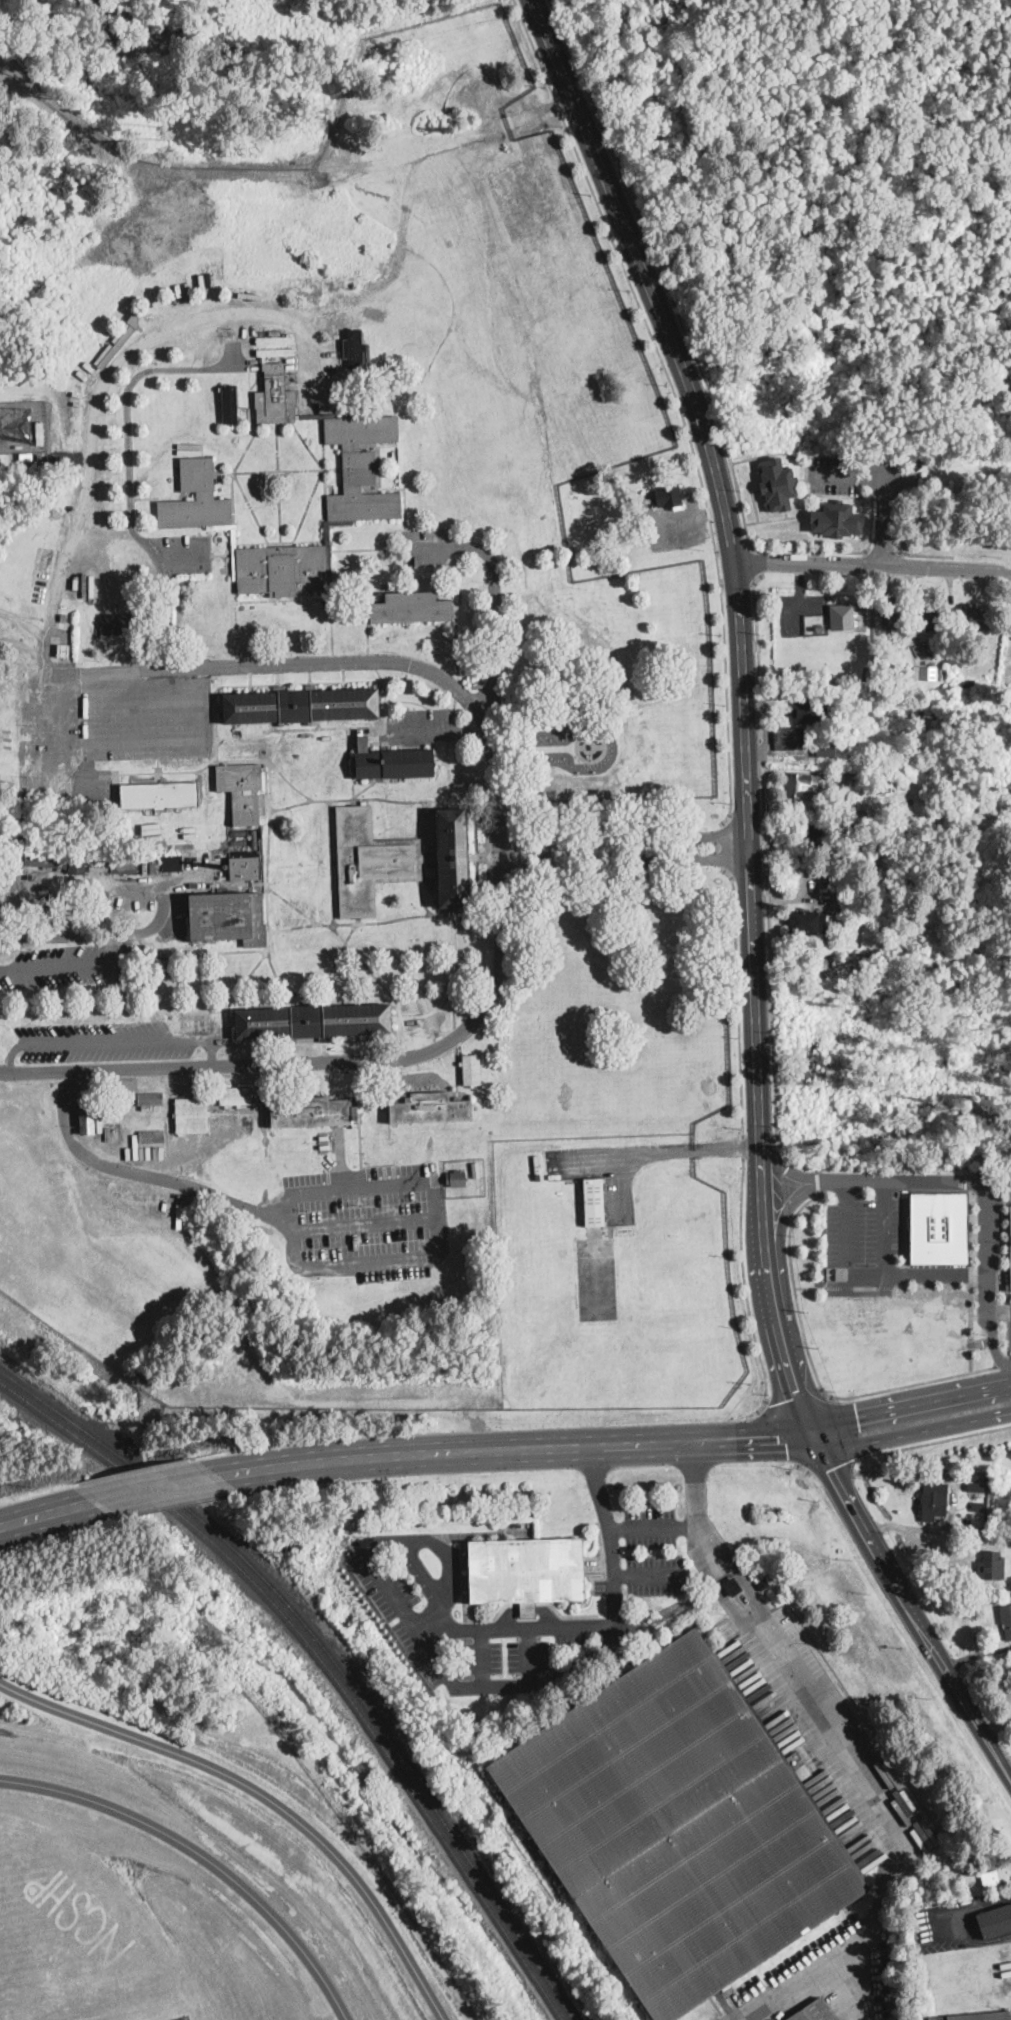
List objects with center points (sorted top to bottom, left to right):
road: (596, 46)
building: (354, 103)
road: (199, 169)
road: (406, 186)
road: (655, 258)
building: (373, 312)
building: (118, 339)
building: (275, 339)
building: (354, 348)
building: (275, 351)
road: (256, 379)
road: (127, 394)
road: (249, 396)
building: (275, 396)
road: (677, 400)
building: (230, 404)
road: (323, 442)
road: (307, 444)
road: (783, 451)
road: (378, 465)
building: (362, 467)
road: (278, 468)
road: (859, 471)
building: (778, 482)
road: (240, 484)
road: (278, 484)
building: (623, 489)
road: (402, 492)
road: (325, 493)
building: (669, 497)
building: (196, 498)
road: (232, 498)
road: (307, 507)
building: (837, 517)
road: (871, 517)
road: (882, 518)
road: (732, 546)
building: (327, 547)
road: (365, 548)
road: (881, 550)
parking lot: (178, 552)
road: (925, 553)
road: (757, 560)
road: (160, 564)
building: (234, 564)
road: (874, 565)
building: (282, 569)
road: (736, 582)
road: (319, 595)
road: (739, 603)
building: (411, 609)
road: (454, 611)
building: (841, 615)
road: (52, 616)
building: (891, 616)
building: (64, 618)
building: (928, 618)
building: (980, 618)
road: (25, 621)
building: (122, 624)
road: (756, 627)
road: (236, 629)
road: (331, 633)
road: (25, 645)
building: (938, 645)
building: (64, 651)
road: (371, 659)
road: (496, 661)
road: (243, 664)
building: (925, 671)
road: (343, 679)
road: (309, 680)
road: (277, 681)
road: (250, 682)
building: (965, 683)
road: (232, 684)
road: (382, 700)
road: (406, 700)
building: (301, 705)
road: (385, 714)
building: (810, 714)
parking lot: (146, 715)
road: (289, 727)
road: (56, 730)
road: (442, 730)
building: (789, 737)
building: (831, 749)
road: (441, 759)
building: (393, 762)
road: (143, 771)
building: (804, 784)
road: (364, 787)
building: (242, 790)
building: (160, 795)
road: (436, 799)
road: (430, 800)
road: (450, 803)
building: (845, 813)
building: (855, 813)
road: (418, 817)
building: (810, 835)
road: (330, 839)
road: (724, 843)
road: (740, 844)
road: (268, 849)
road: (506, 853)
building: (398, 859)
building: (46, 860)
building: (171, 862)
building: (77, 865)
building: (119, 867)
building: (245, 868)
building: (90, 902)
road: (454, 911)
building: (228, 917)
road: (393, 919)
building: (807, 921)
road: (345, 922)
road: (350, 930)
road: (93, 933)
road: (197, 952)
road: (455, 956)
road: (361, 959)
road: (76, 963)
parking lot: (64, 965)
road: (273, 968)
road: (328, 974)
road: (768, 976)
road: (736, 1000)
road: (205, 1010)
road: (229, 1019)
building: (313, 1021)
building: (195, 1022)
building: (159, 1024)
road: (113, 1039)
parking lot: (100, 1041)
road: (261, 1043)
road: (324, 1047)
road: (329, 1061)
building: (471, 1069)
building: (235, 1095)
building: (150, 1099)
building: (431, 1109)
building: (311, 1112)
building: (191, 1115)
building: (88, 1120)
building: (152, 1136)
road: (742, 1146)
road: (658, 1149)
road: (997, 1166)
building: (475, 1168)
road: (787, 1168)
road: (145, 1174)
building: (552, 1176)
building: (457, 1178)
road: (816, 1178)
road: (900, 1179)
airport hangar: (594, 1202)
building: (594, 1202)
road: (788, 1208)
parking lot: (366, 1221)
road: (367, 1222)
building: (941, 1228)
road: (904, 1230)
building: (1010, 1232)
road: (985, 1238)
parking lot: (871, 1247)
road: (439, 1249)
road: (905, 1273)
road: (936, 1274)
road: (866, 1275)
airport: (615, 1277)
helipad: (597, 1278)
road: (898, 1283)
road: (793, 1285)
road: (810, 1286)
road: (839, 1286)
road: (865, 1287)
road: (885, 1287)
road: (745, 1292)
road: (969, 1308)
road: (998, 1311)
road: (786, 1341)
road: (969, 1342)
road: (992, 1342)
road: (1010, 1355)
road: (969, 1358)
road: (1003, 1360)
road: (908, 1382)
traffic signals: (797, 1389)
road: (792, 1397)
road: (909, 1404)
traffic signals: (857, 1415)
road: (845, 1428)
road: (911, 1433)
road: (783, 1434)
road: (947, 1436)
traffic signals: (782, 1438)
road: (514, 1449)
traffic signals: (831, 1467)
road: (836, 1469)
building: (974, 1476)
building: (976, 1485)
road: (155, 1490)
building: (934, 1501)
road: (694, 1503)
building: (979, 1507)
road: (45, 1515)
road: (652, 1528)
parking lot: (653, 1550)
road: (447, 1552)
building: (992, 1565)
building: (526, 1572)
road: (649, 1574)
road: (743, 1578)
building: (763, 1583)
building: (733, 1586)
road: (723, 1591)
road: (912, 1606)
road: (525, 1609)
parking lot: (419, 1614)
building: (1006, 1619)
road: (606, 1625)
road: (418, 1628)
railway: (331, 1654)
road: (526, 1656)
road: (479, 1658)
railway: (324, 1661)
road: (265, 1795)
building: (678, 1827)
road: (890, 1829)
road: (203, 1855)
building: (989, 1877)
railway: (561, 1891)
road: (946, 1918)
building: (995, 1921)
parking lot: (824, 1976)
building: (813, 2012)
building: (976, 2016)

